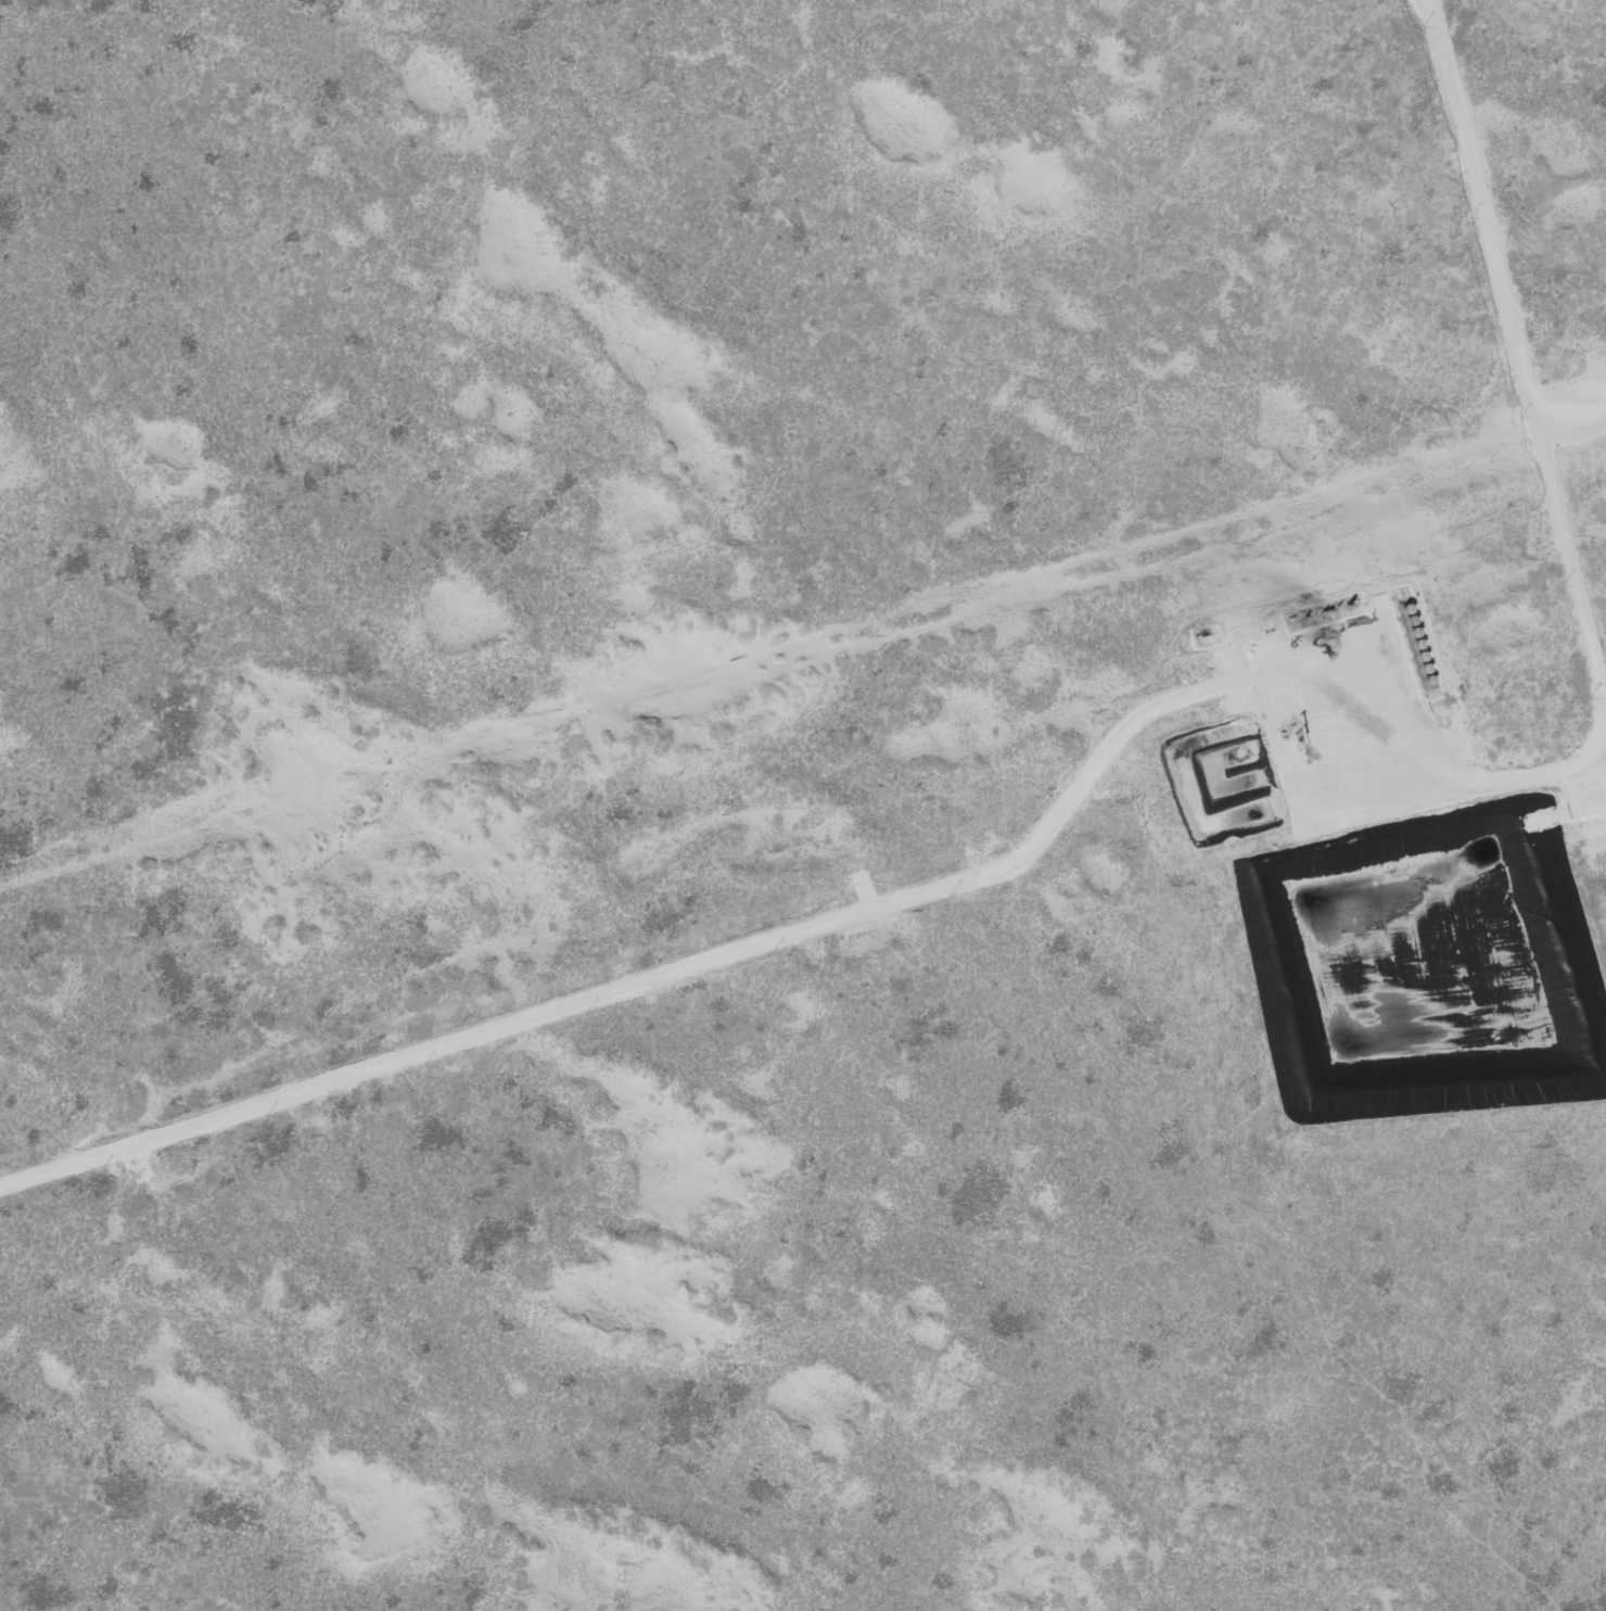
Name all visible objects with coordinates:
road: (1529, 314)

